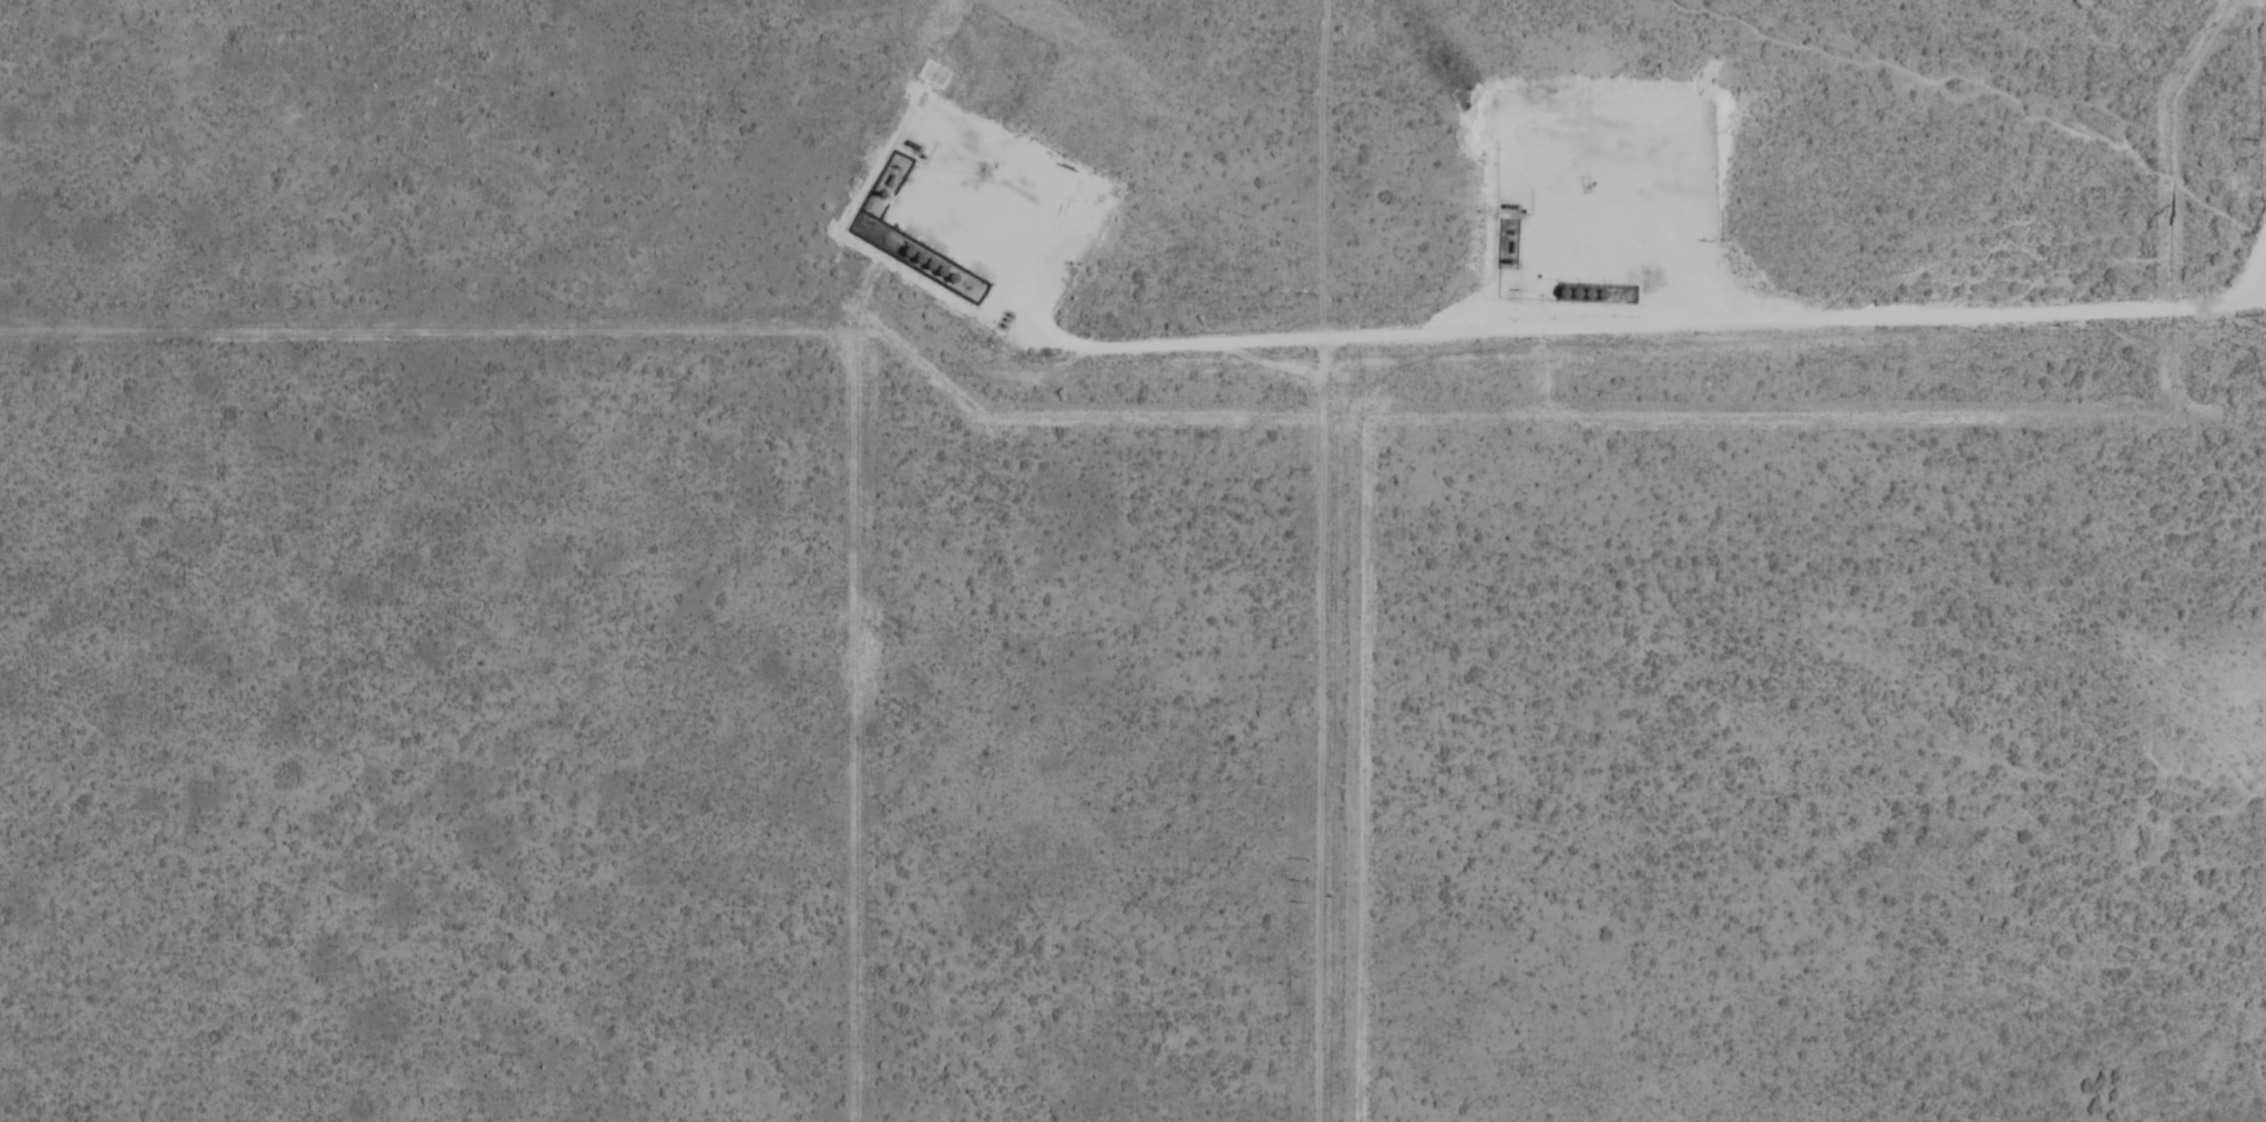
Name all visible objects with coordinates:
road: (1609, 208)
road: (984, 222)
road: (1658, 316)

